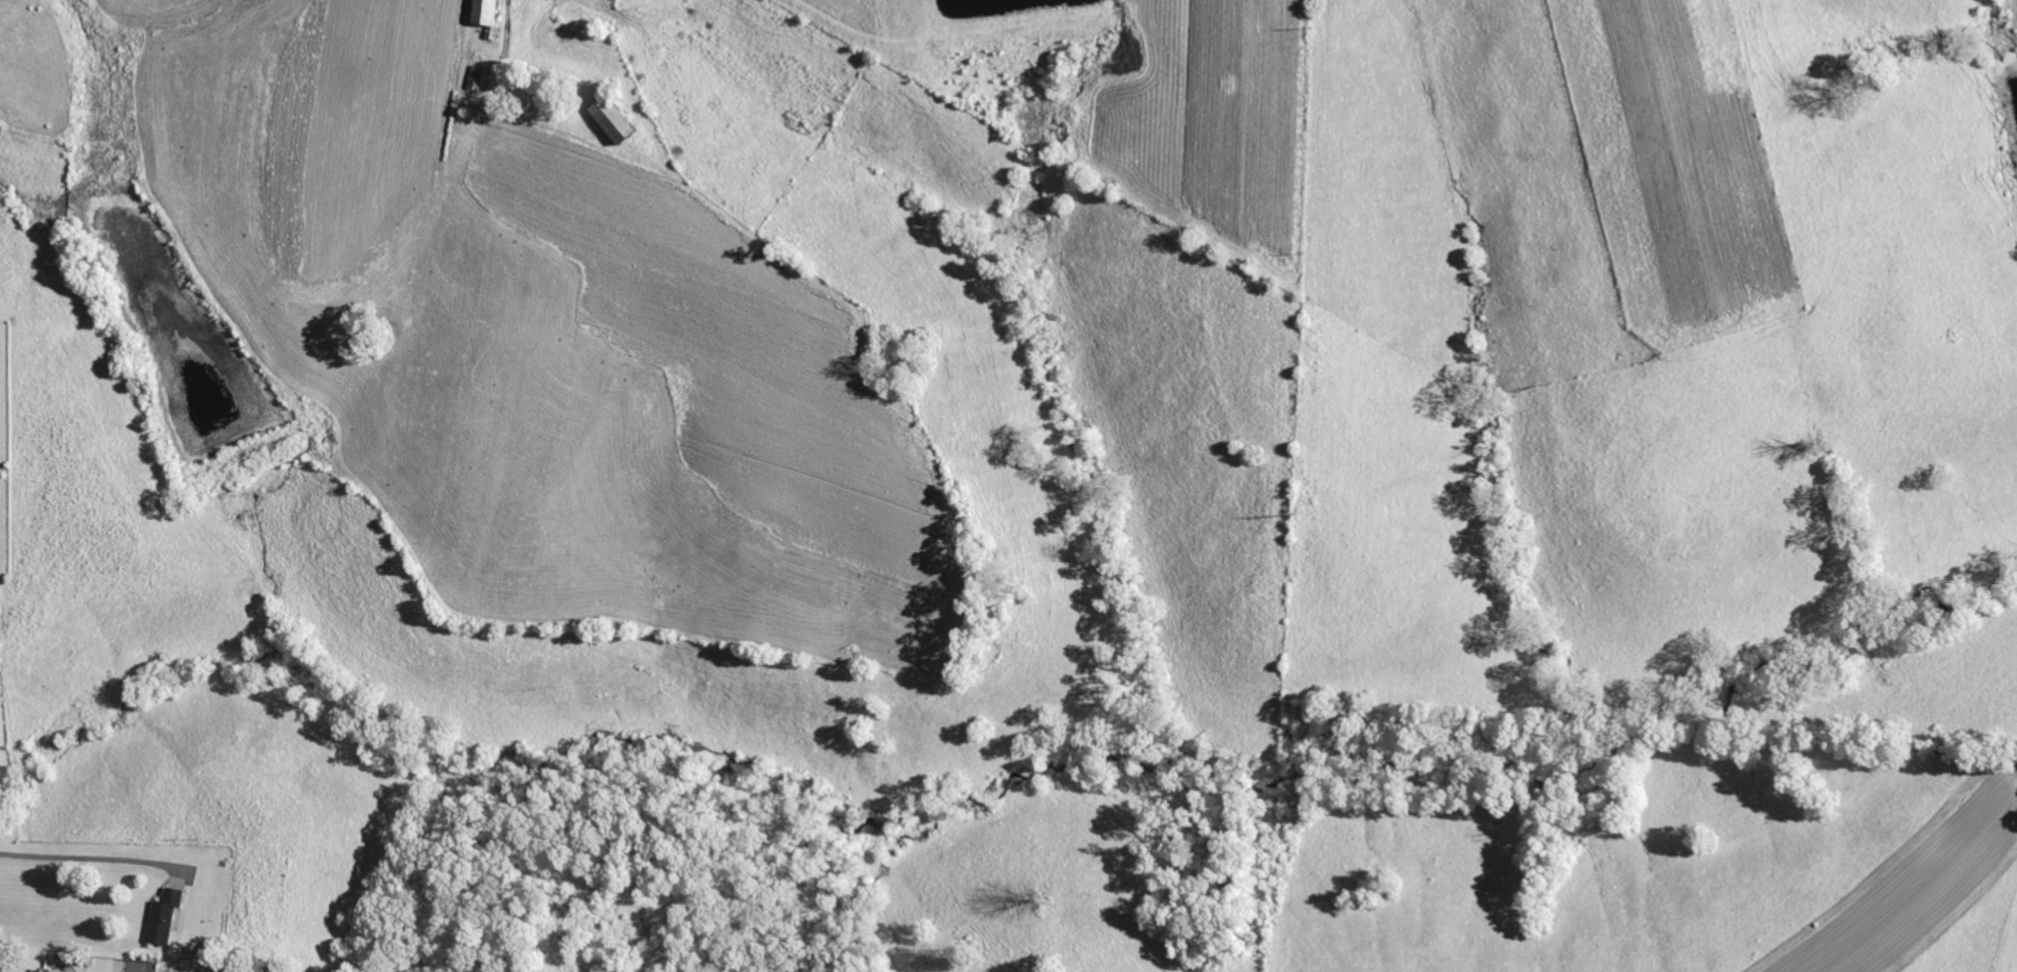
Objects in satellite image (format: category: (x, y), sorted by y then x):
building: (481, 11)
building: (475, 77)
building: (608, 118)
building: (167, 916)
building: (54, 970)

